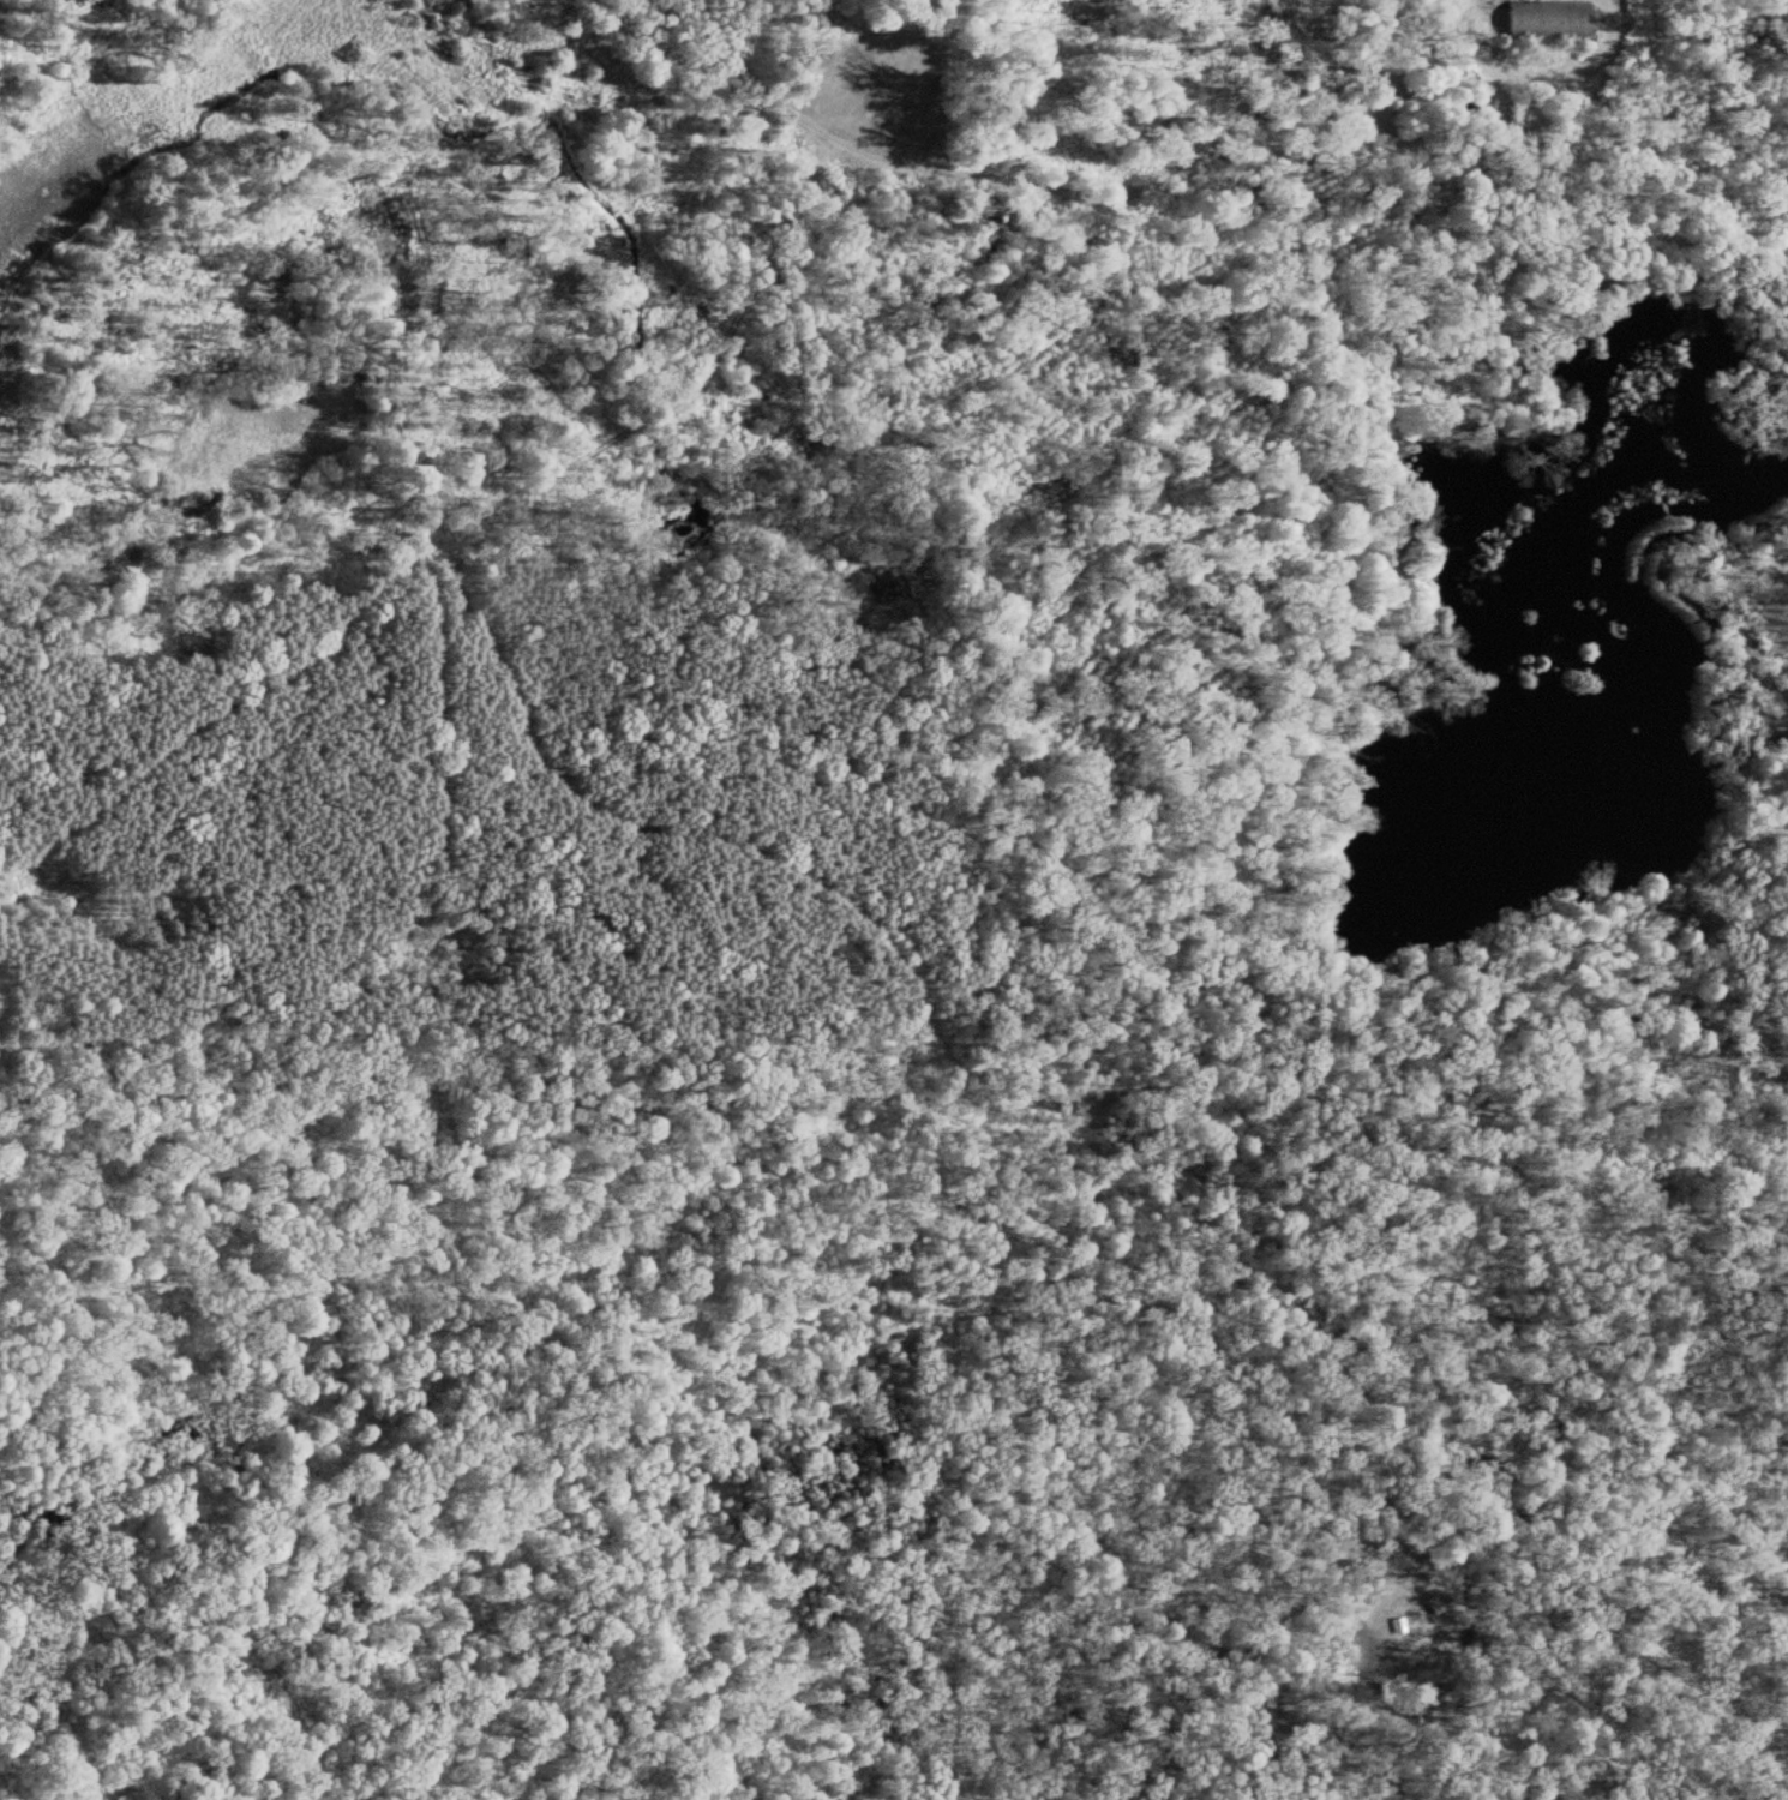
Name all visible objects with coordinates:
road: (890, 1054)
road: (1374, 1346)
road: (1411, 1590)

